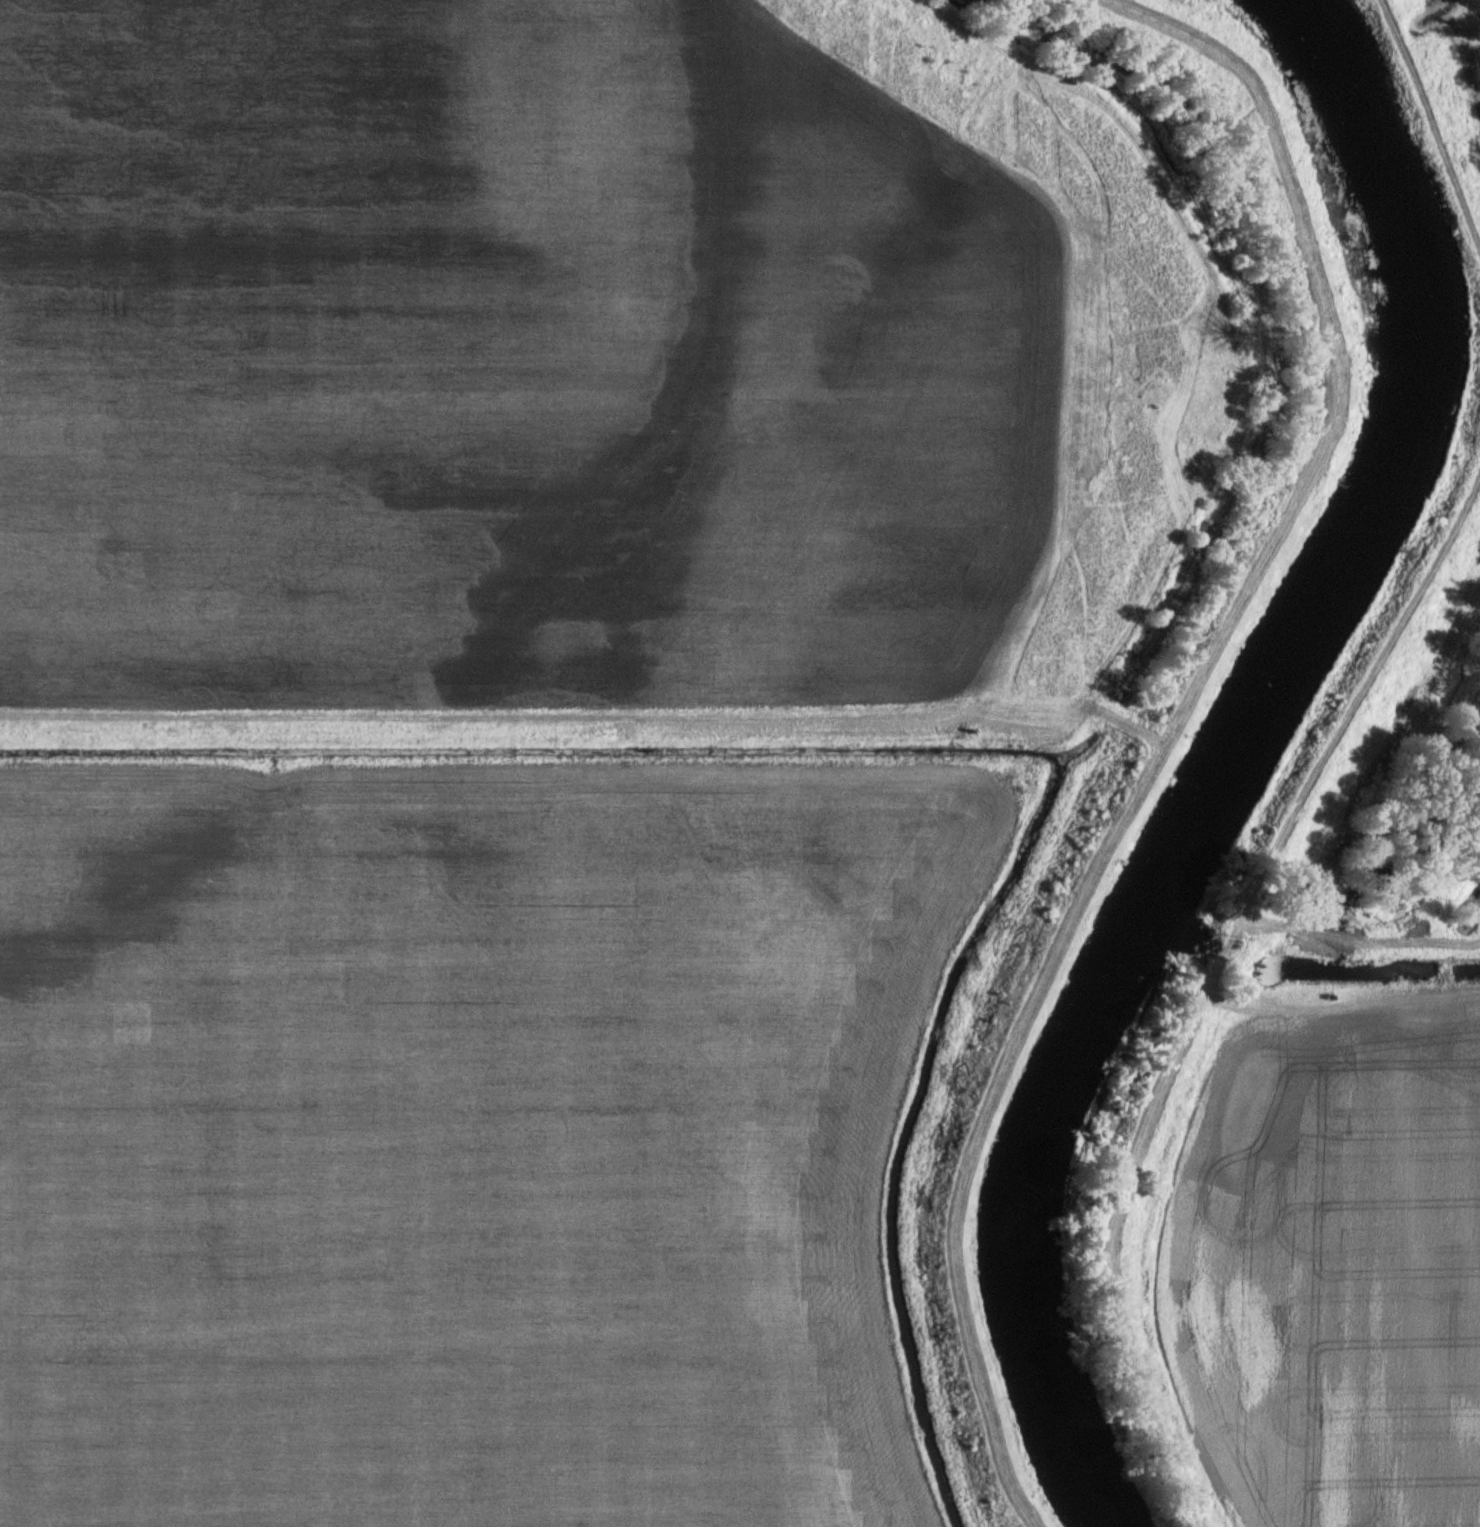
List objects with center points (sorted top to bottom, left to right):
crop: (504, 358)
road: (511, 714)
river: (1226, 758)
road: (1339, 1000)
crop: (463, 1140)

